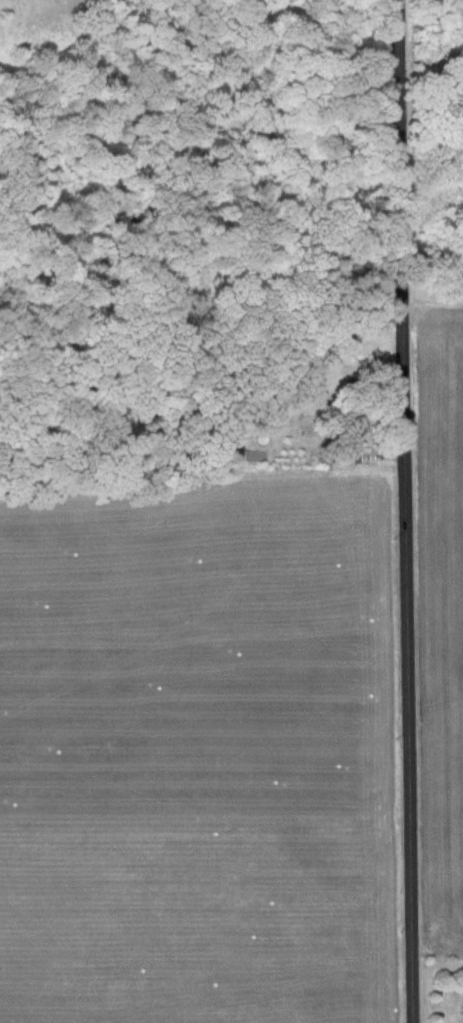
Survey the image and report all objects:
building: (350, 437)
road: (408, 511)

